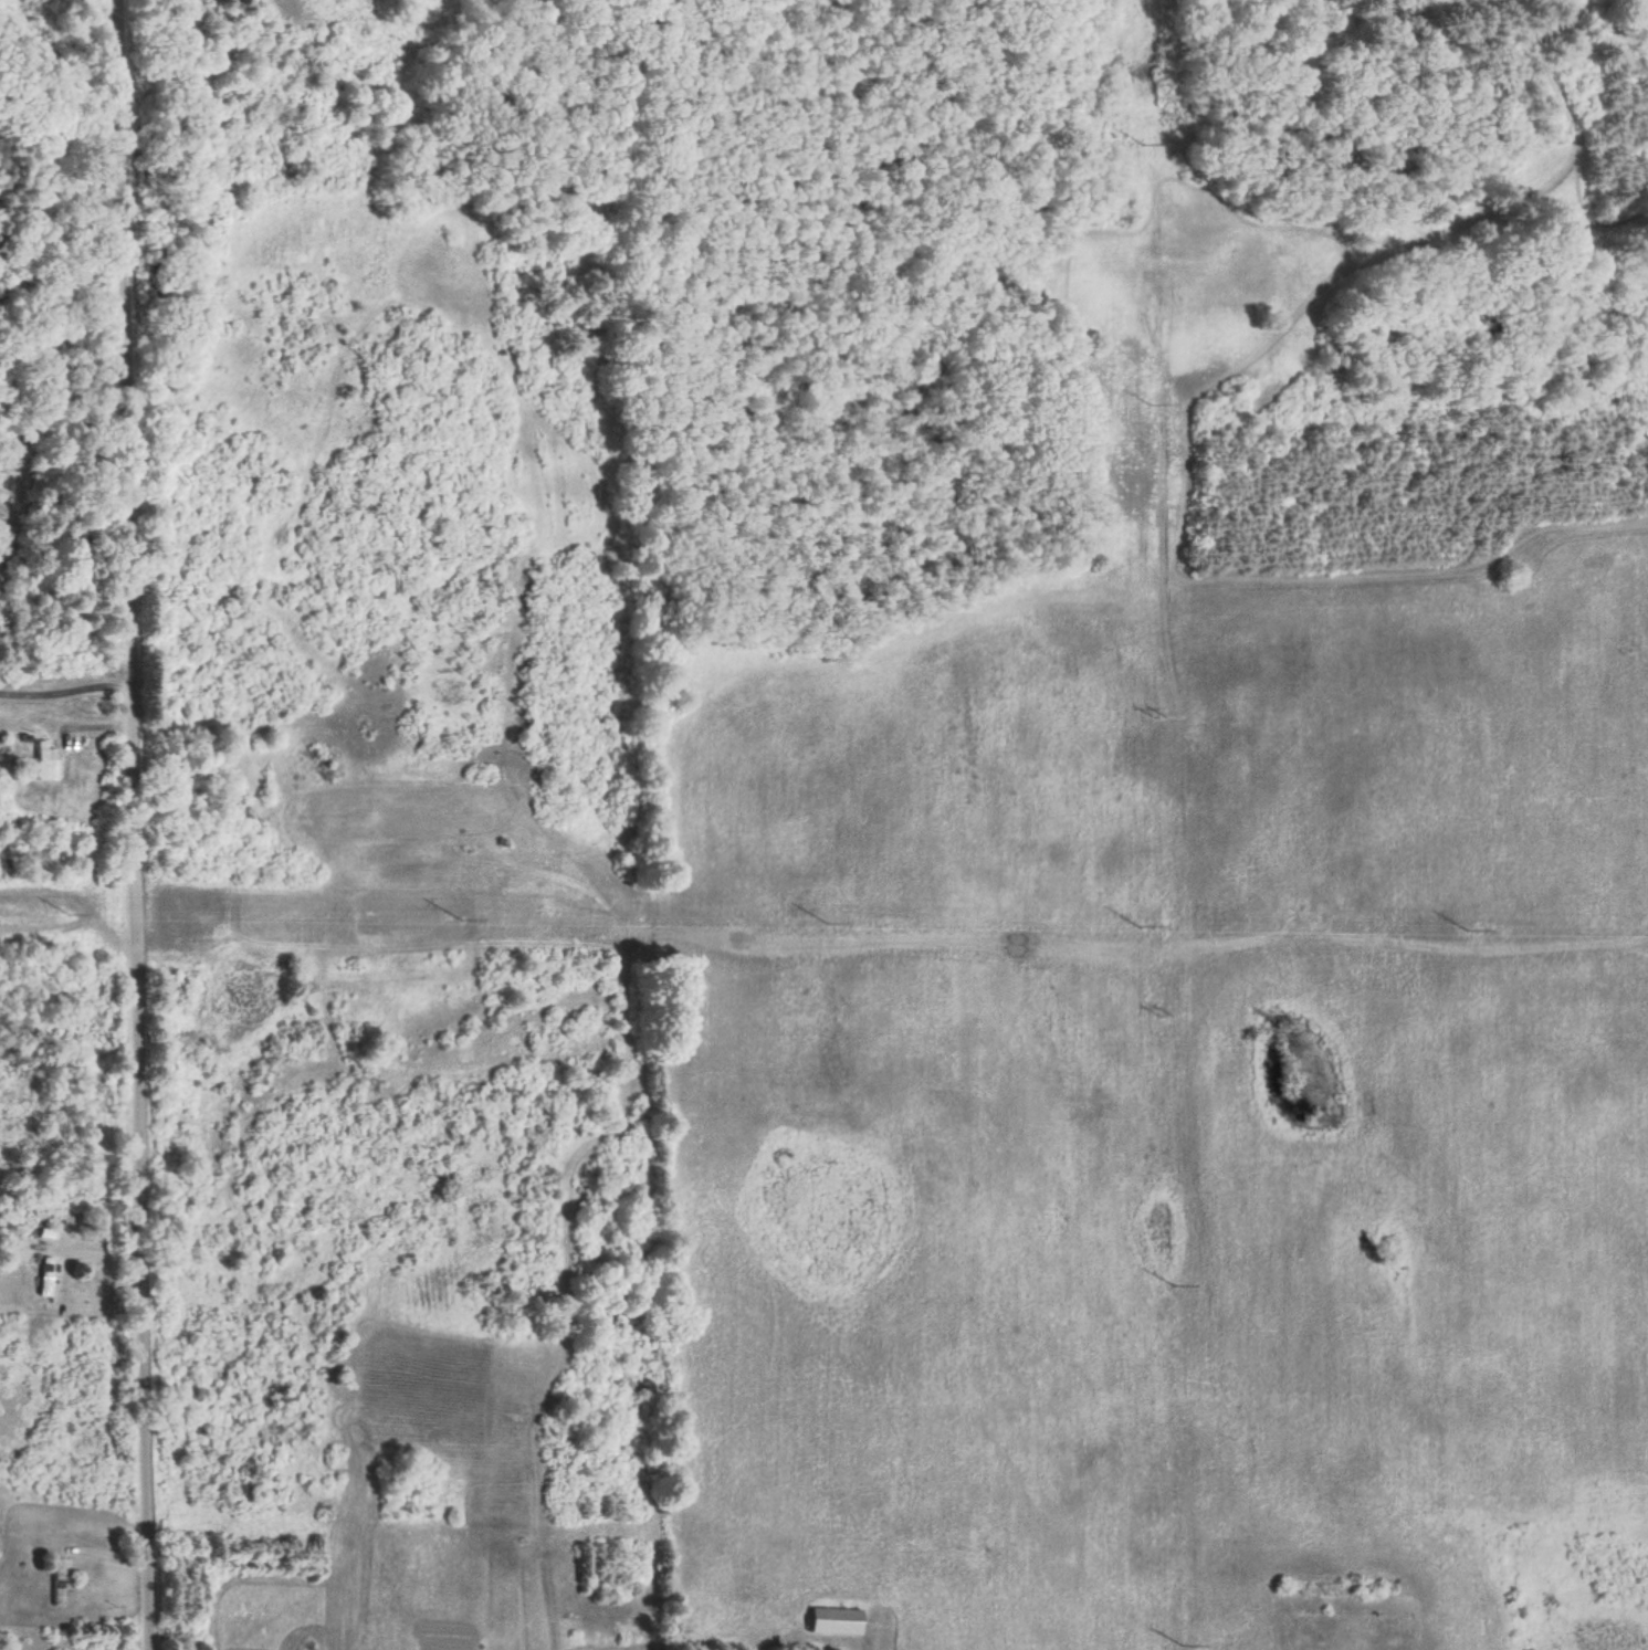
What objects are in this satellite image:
power tower: (1156, 707)
building: (45, 758)
road: (137, 824)
power tower: (1161, 1008)
building: (44, 1275)
building: (57, 1580)
building: (833, 1620)

